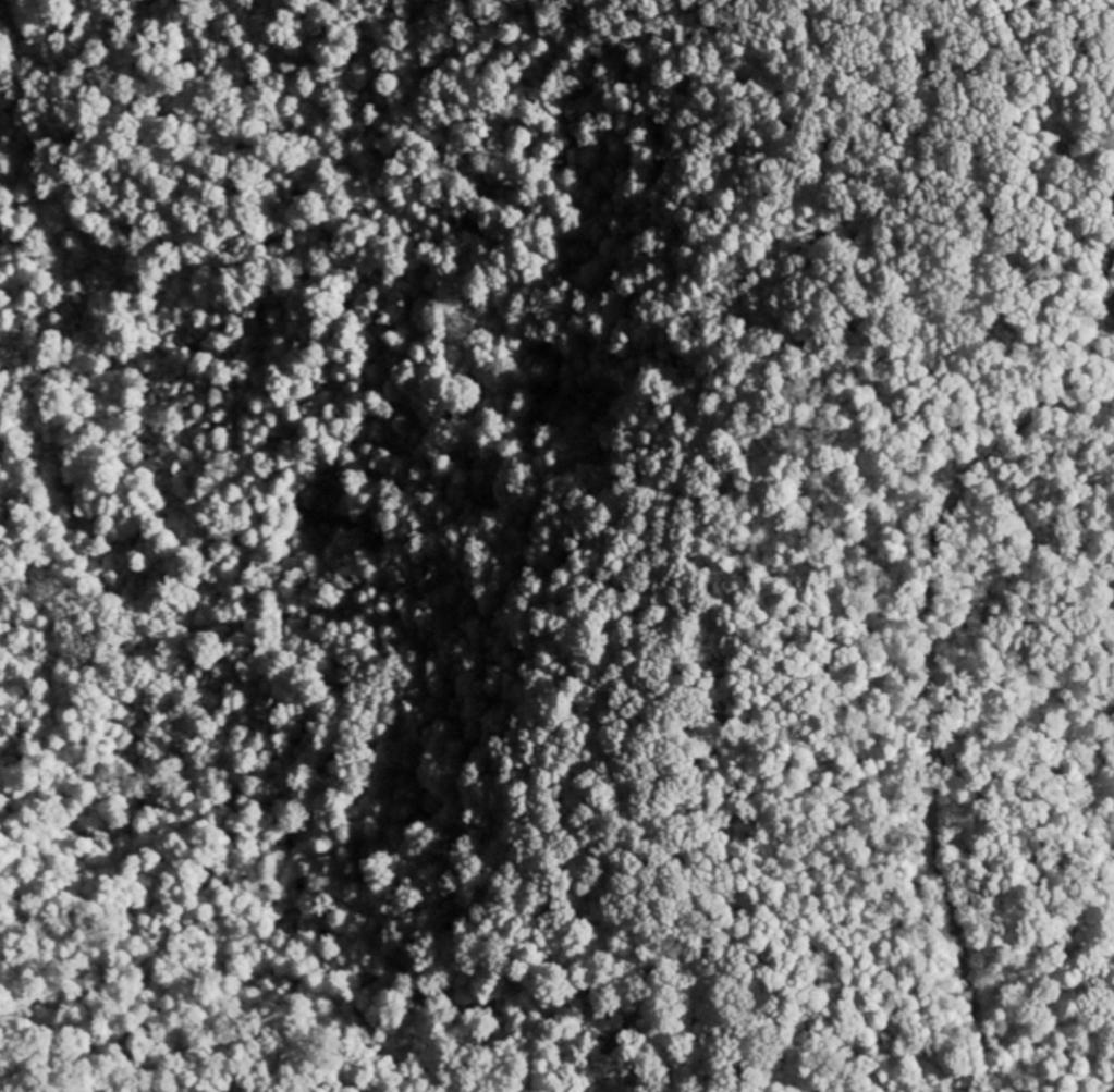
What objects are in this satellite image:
road: (1110, 318)
road: (931, 649)

